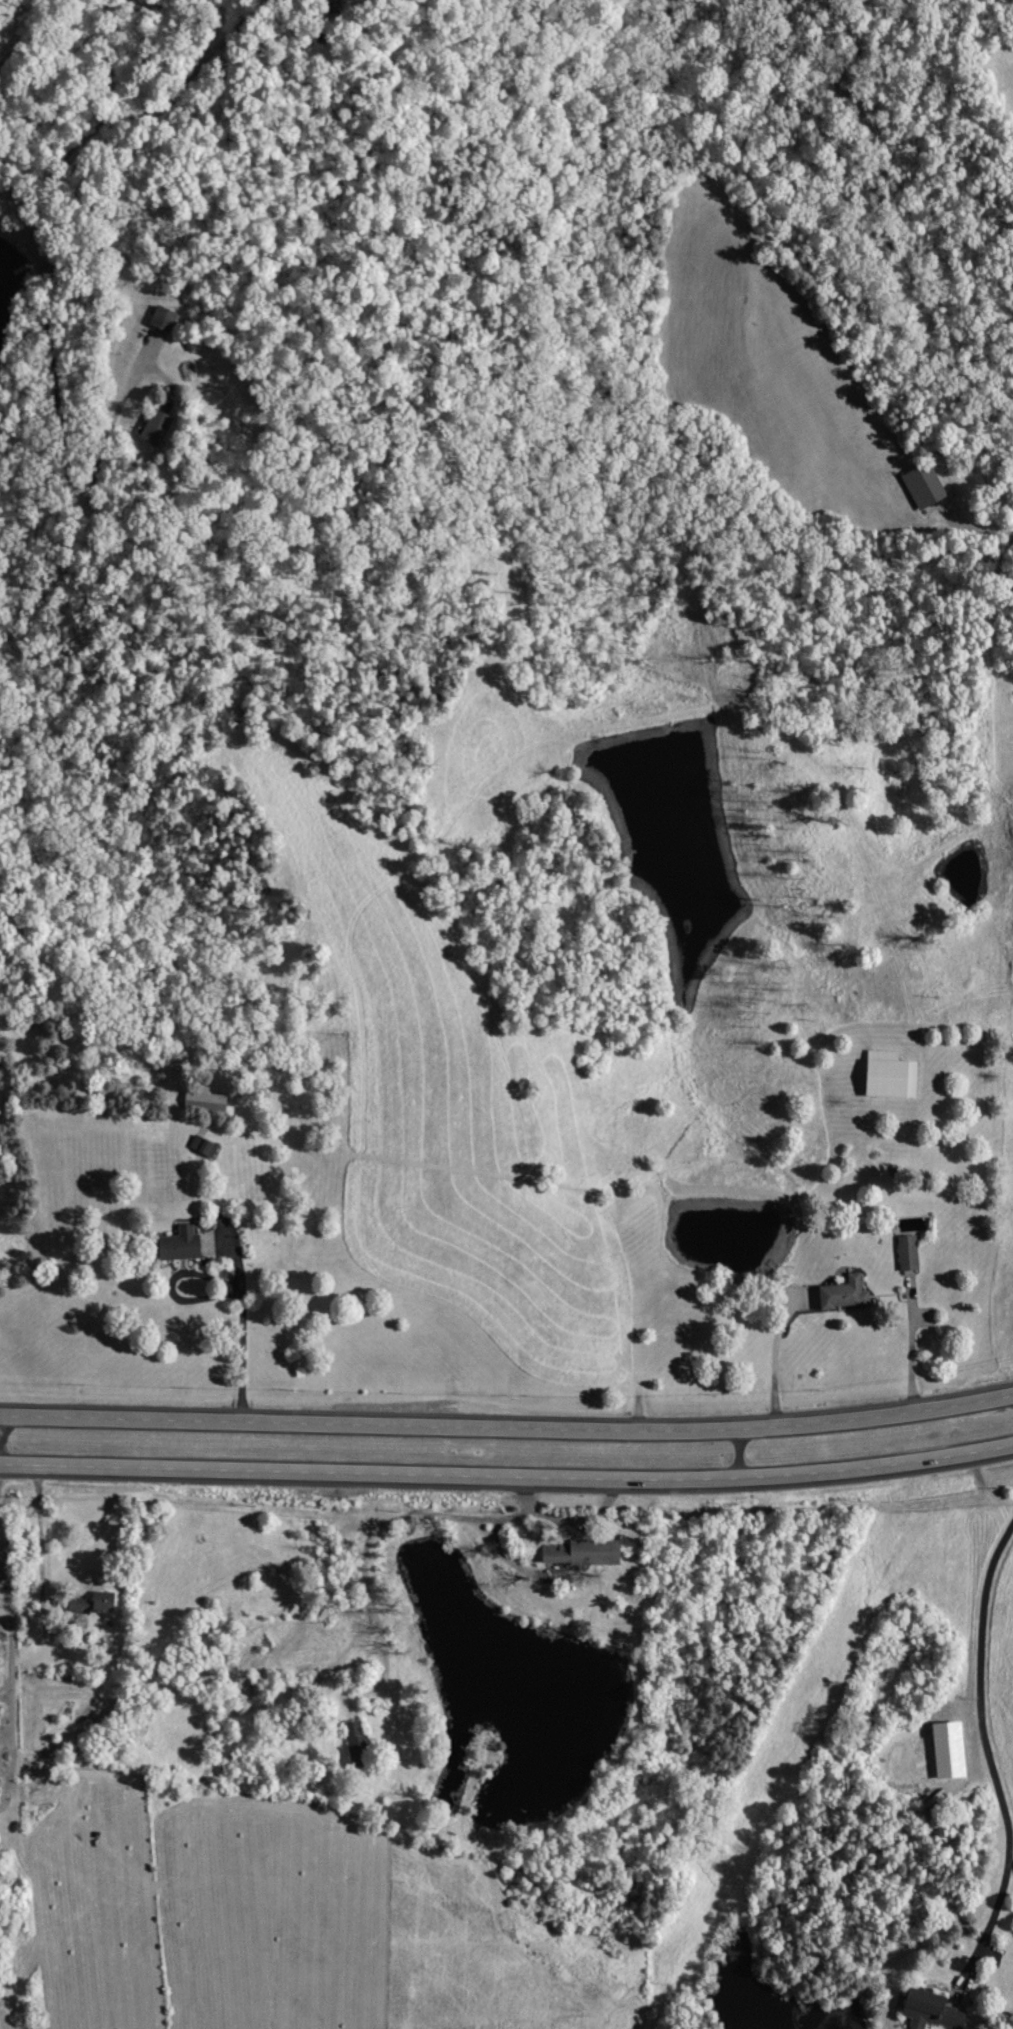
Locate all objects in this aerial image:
road: (129, 112)
building: (167, 318)
building: (159, 426)
road: (60, 433)
building: (926, 486)
building: (895, 1075)
building: (210, 1102)
building: (206, 1145)
building: (186, 1245)
building: (911, 1253)
road: (225, 1282)
building: (849, 1293)
road: (782, 1353)
road: (507, 1425)
road: (1, 1438)
road: (740, 1452)
road: (507, 1474)
road: (39, 1553)
building: (589, 1553)
building: (101, 1604)
road: (10, 1624)
building: (362, 1746)
road: (986, 1758)
building: (0, 1763)
building: (925, 2009)

